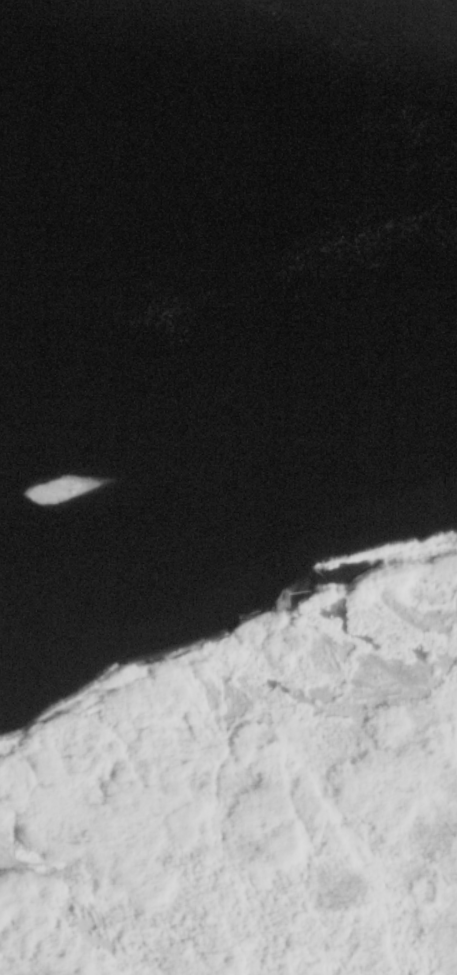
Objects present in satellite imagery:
road: (218, 630)

